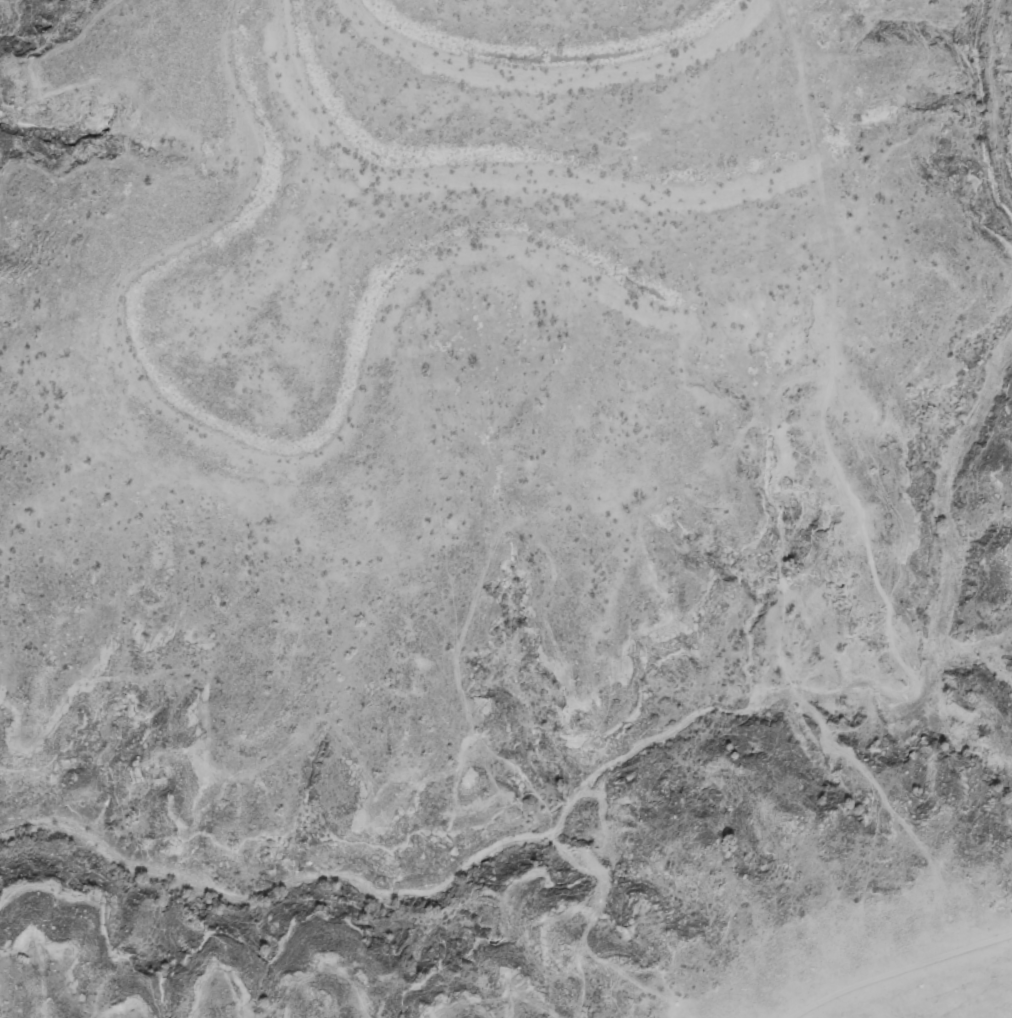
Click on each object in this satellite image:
road: (899, 967)

